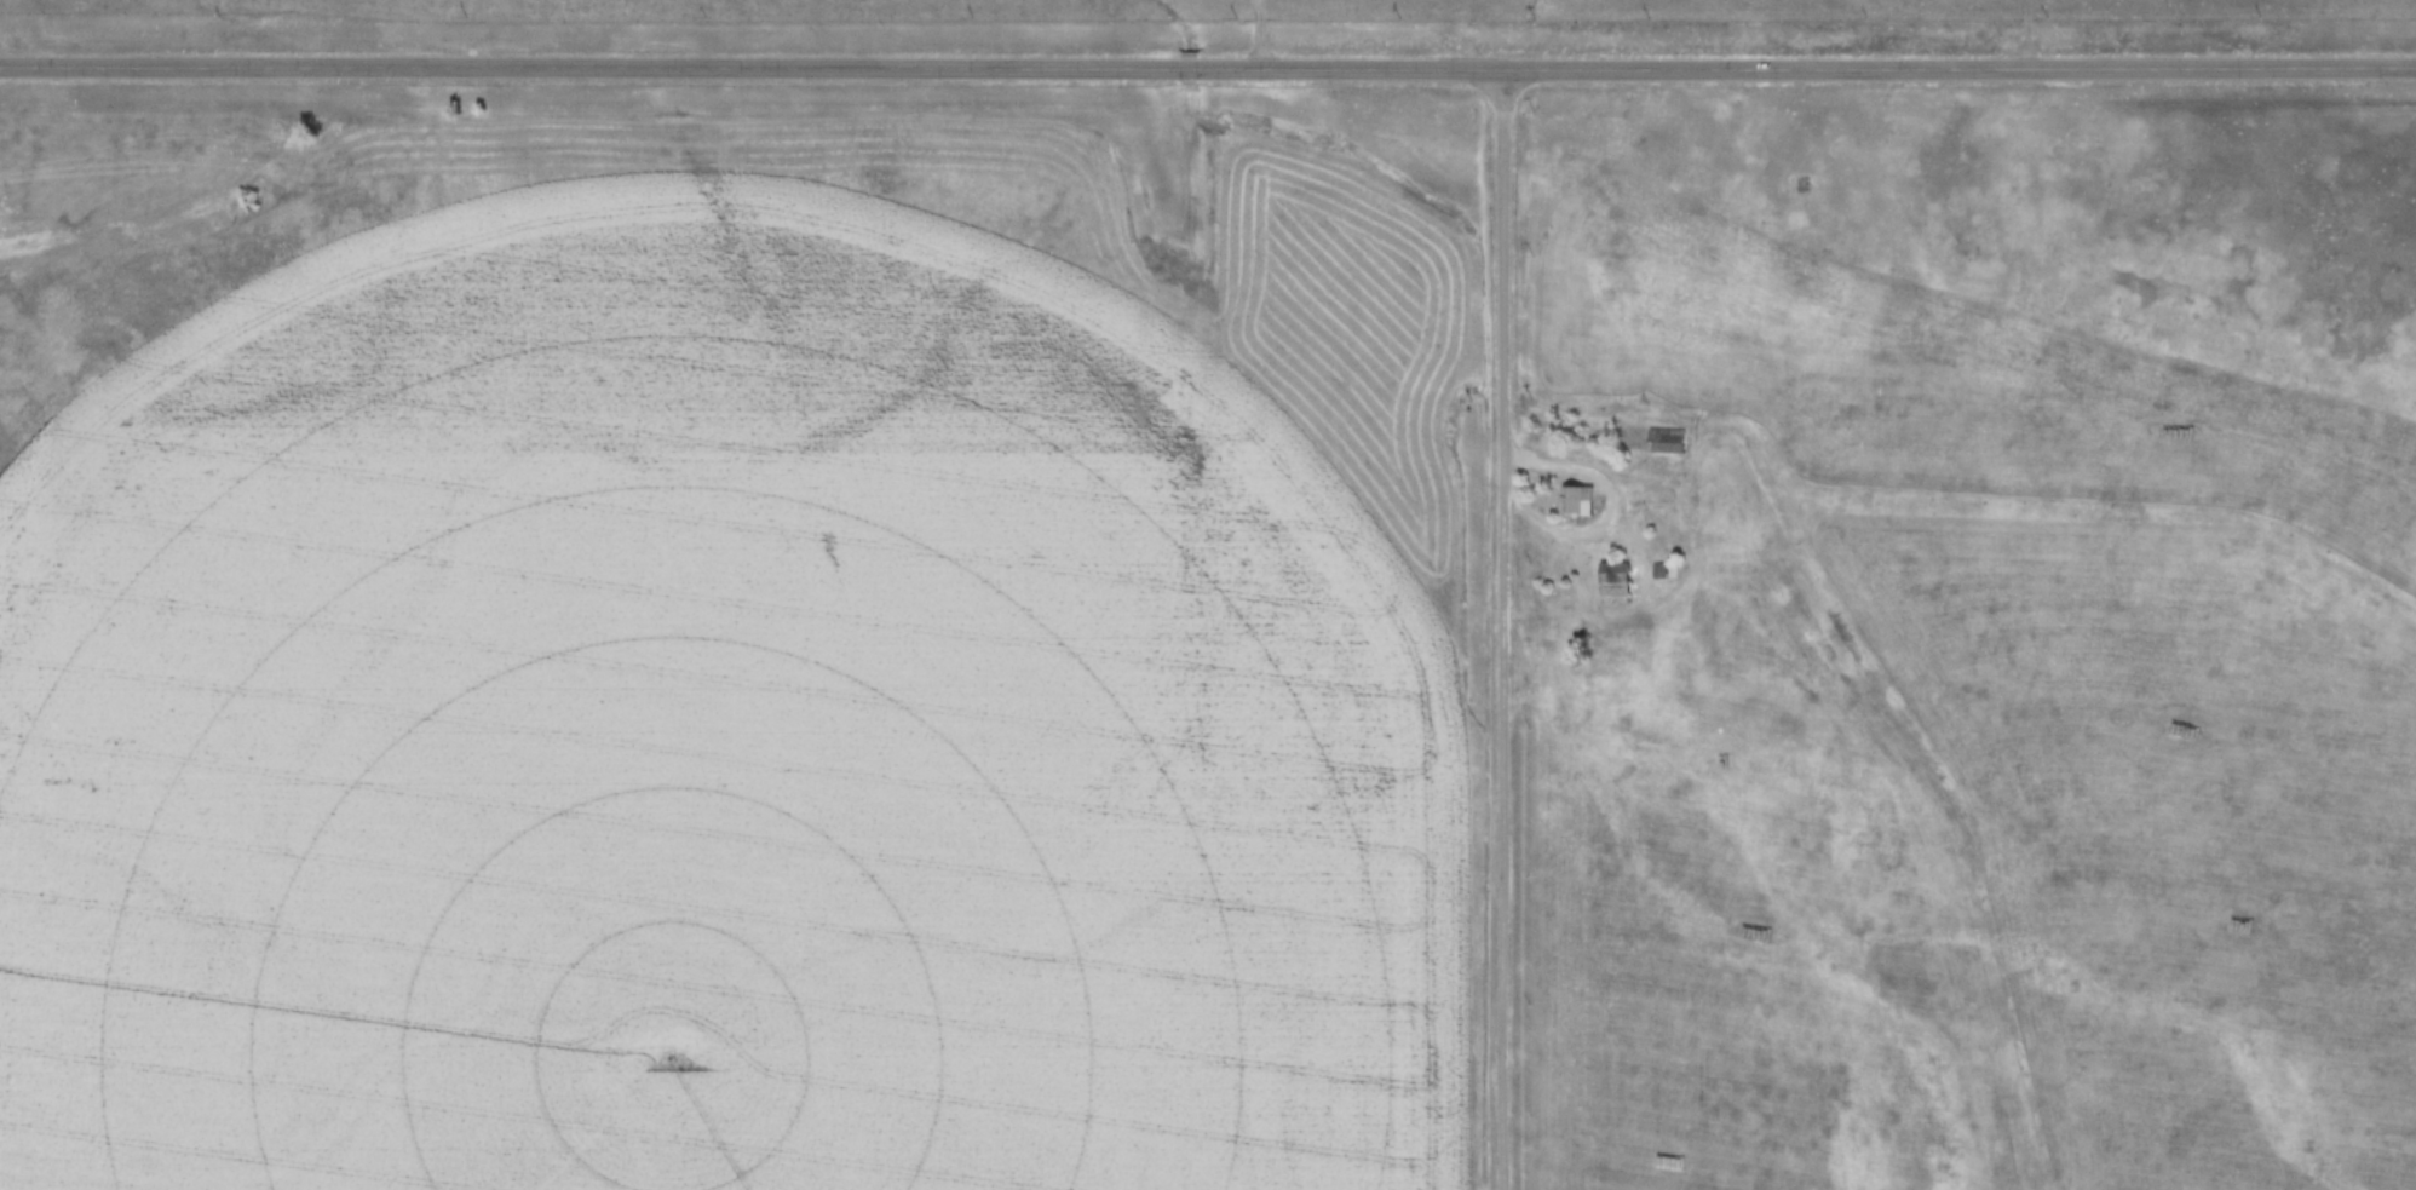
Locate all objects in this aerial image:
road: (1207, 63)
building: (1657, 433)
building: (1575, 499)
building: (1613, 586)
road: (1492, 626)

